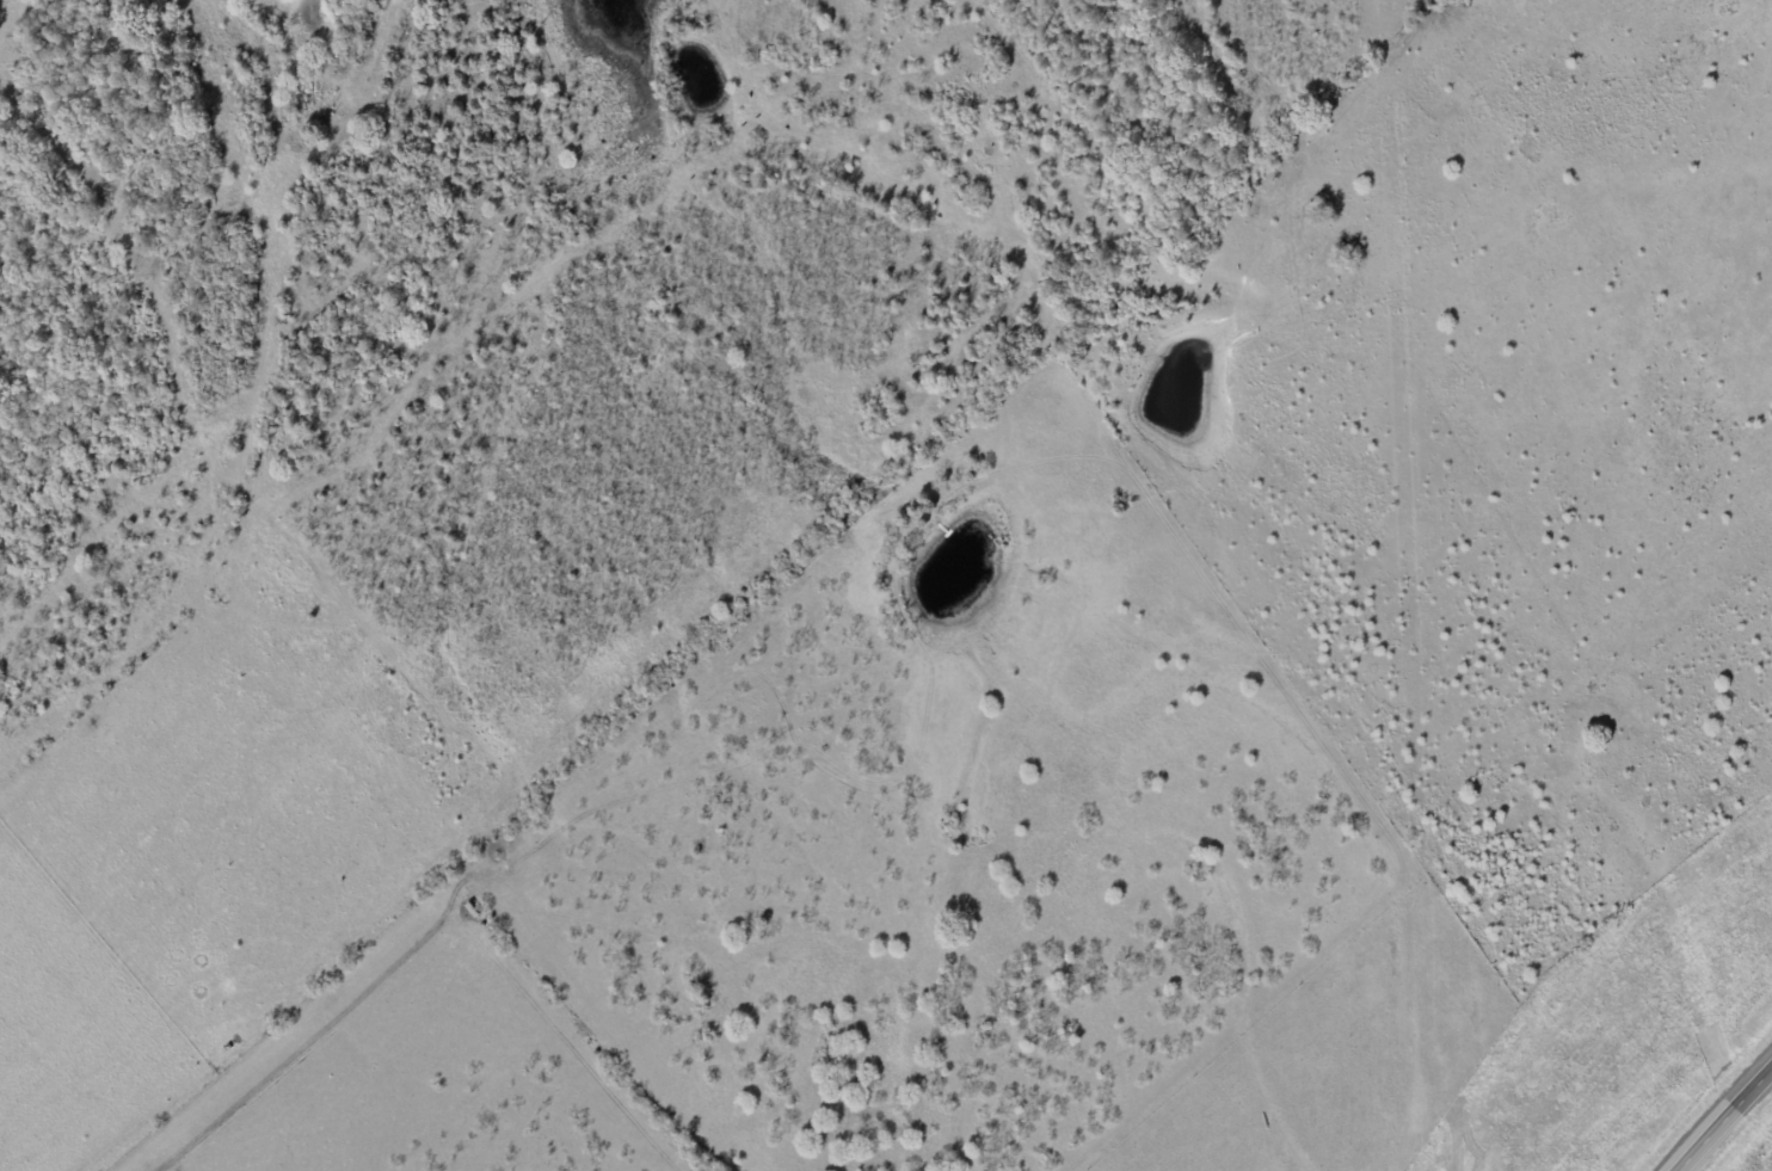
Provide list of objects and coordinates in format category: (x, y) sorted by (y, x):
road: (1723, 1118)

